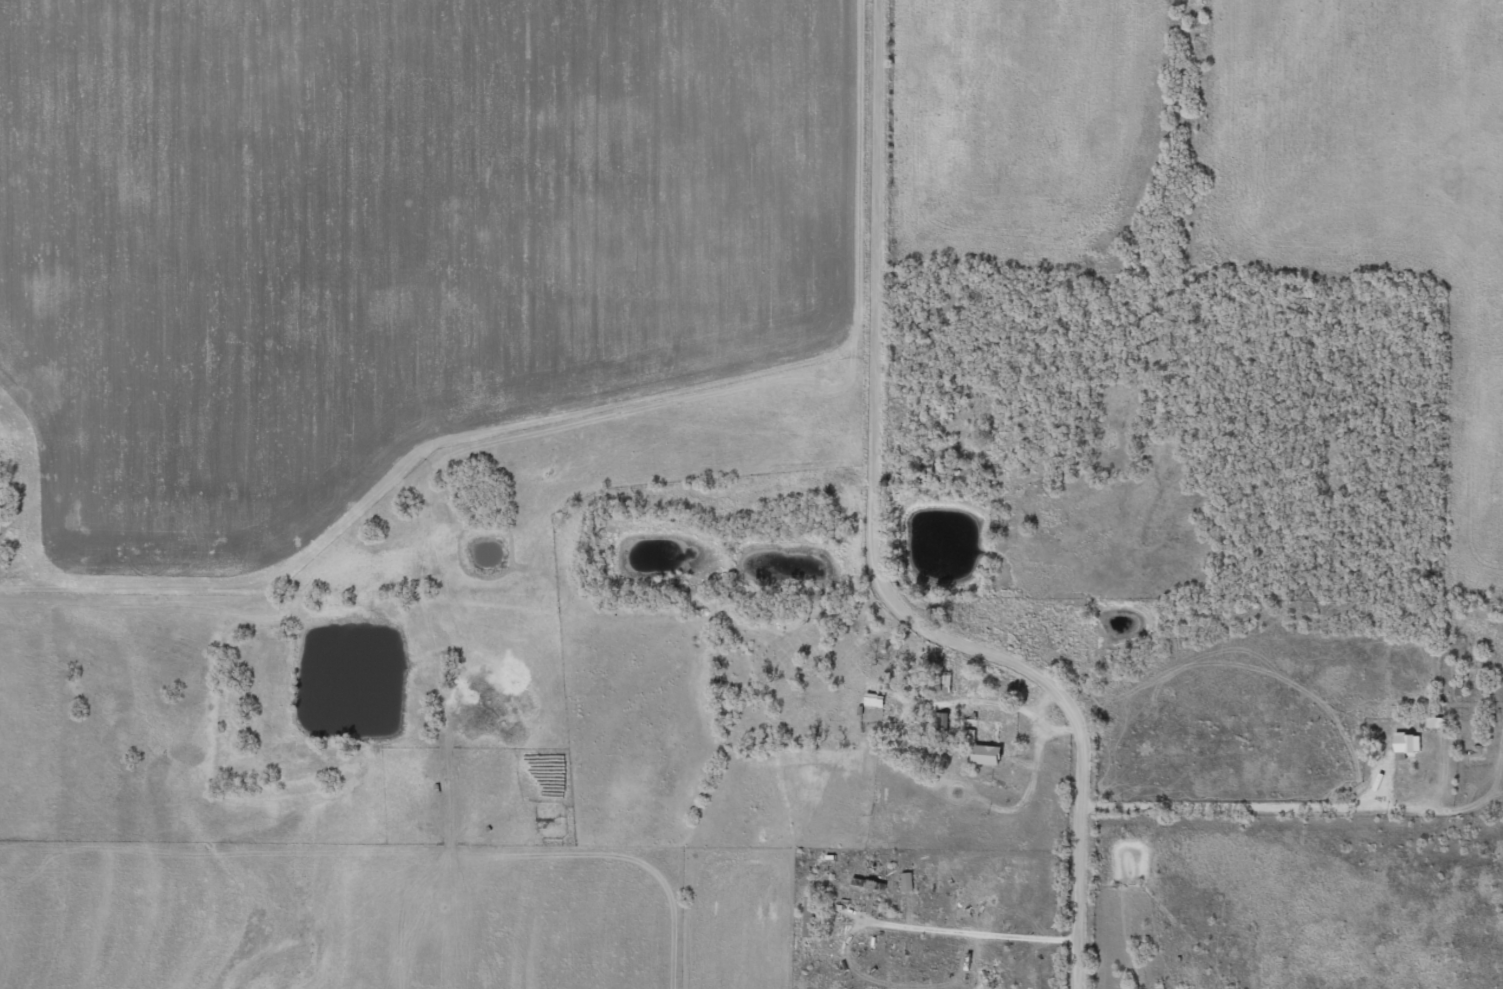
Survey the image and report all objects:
road: (886, 573)
road: (471, 591)
building: (870, 700)
building: (833, 710)
building: (978, 729)
road: (1312, 730)
building: (1402, 744)
building: (548, 767)
road: (740, 837)
building: (903, 882)
building: (805, 918)

